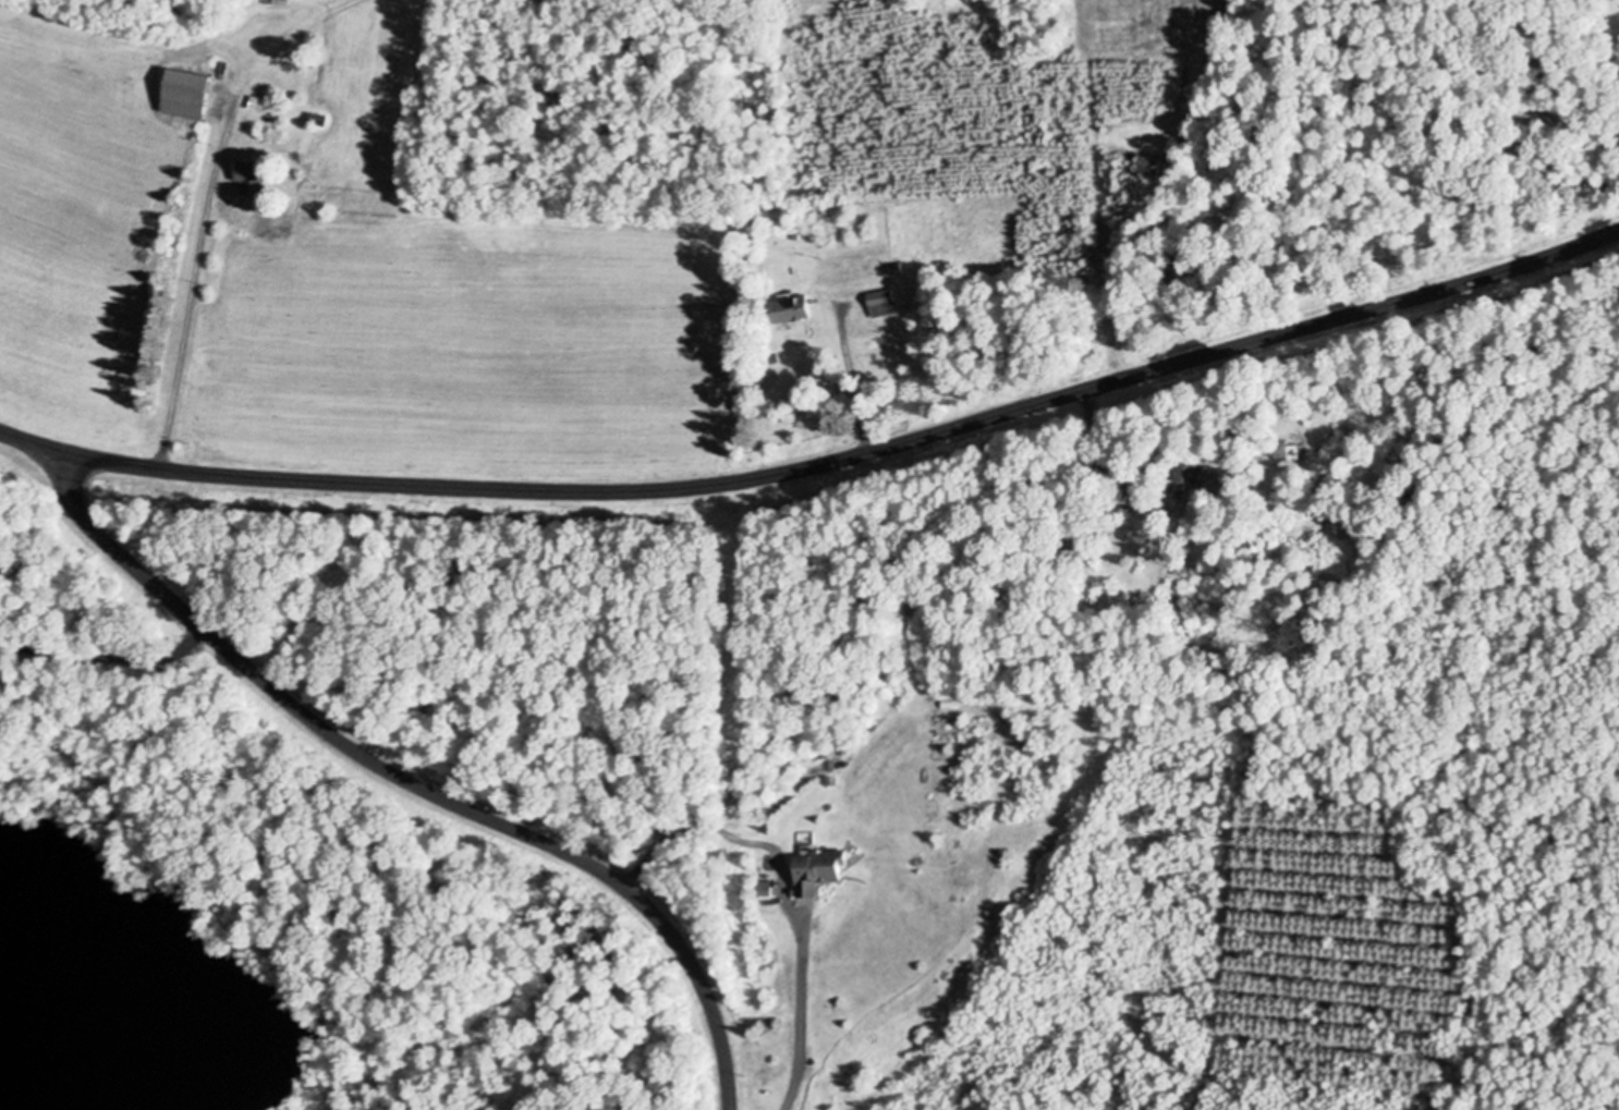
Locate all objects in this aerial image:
building: (279, 1)
building: (191, 92)
building: (255, 174)
road: (194, 288)
building: (886, 301)
building: (794, 307)
road: (852, 383)
road: (1104, 447)
building: (1292, 451)
road: (823, 460)
building: (1190, 469)
building: (1226, 483)
road: (412, 781)
building: (824, 870)
road: (800, 1017)

